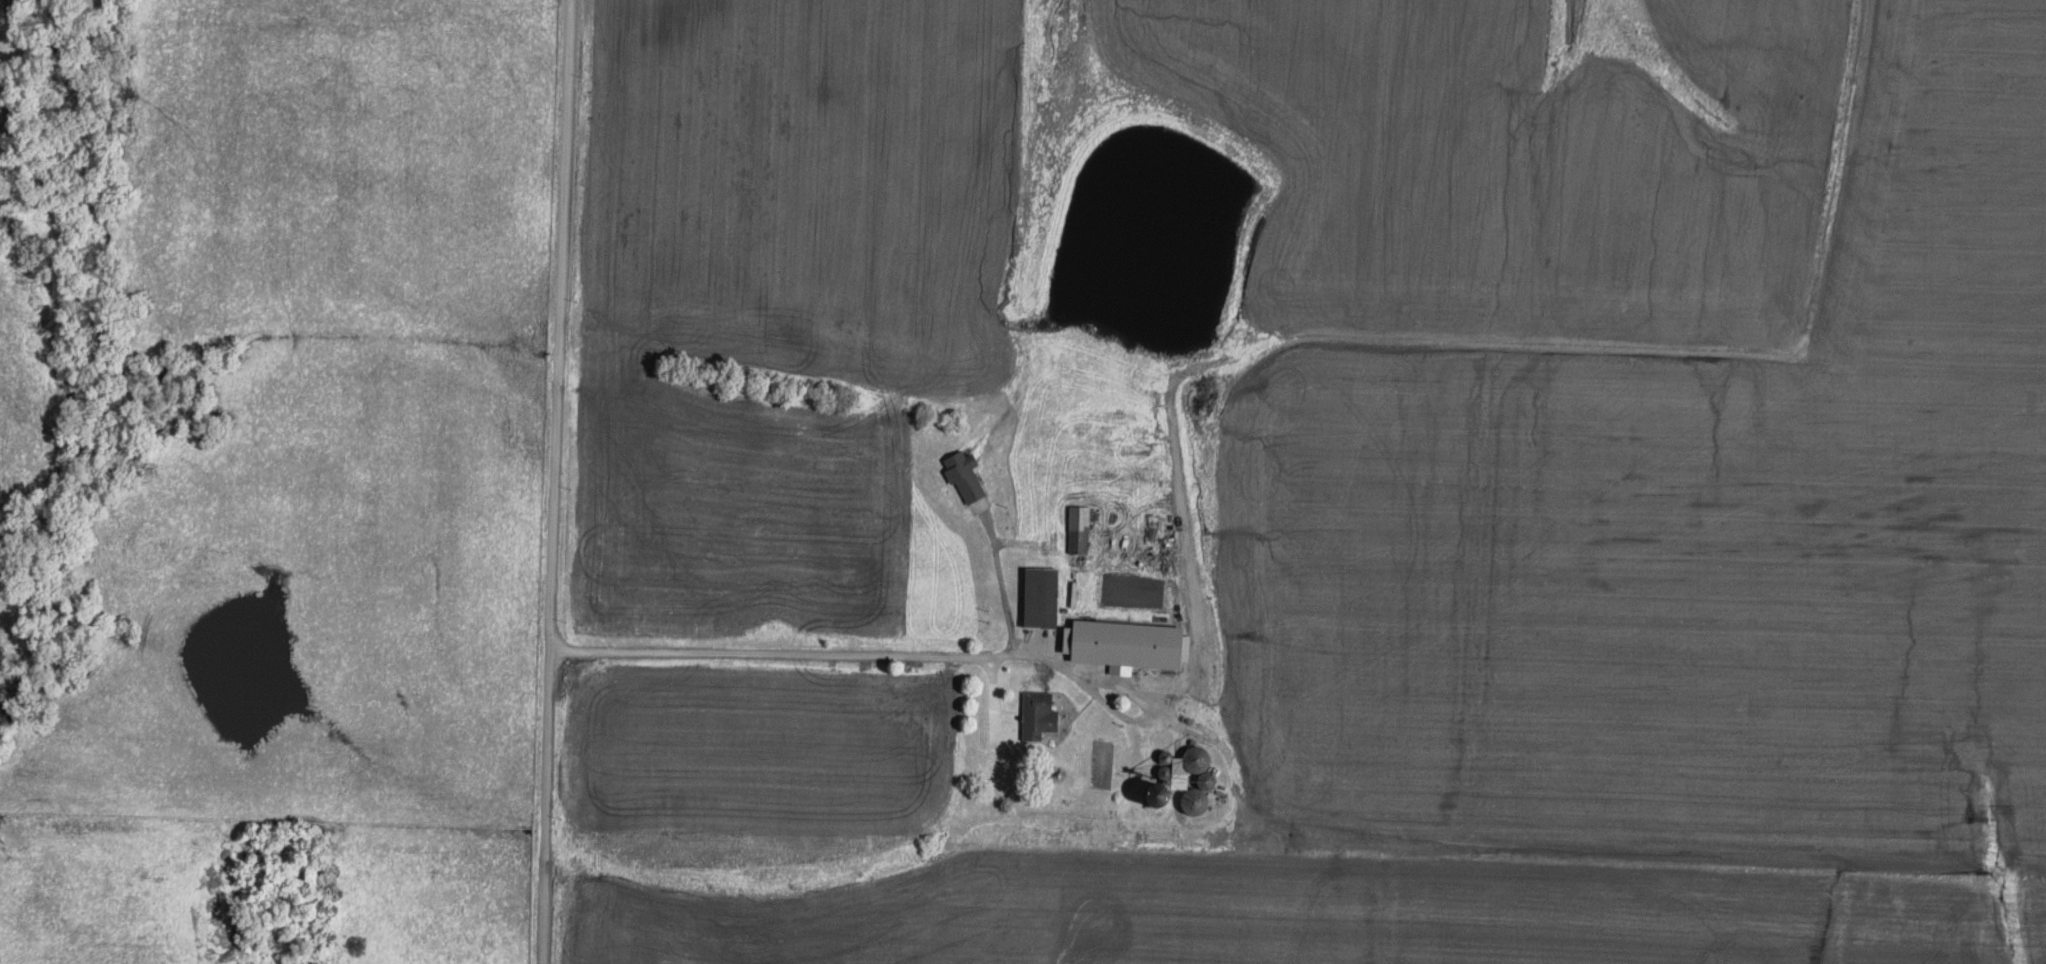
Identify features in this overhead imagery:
crop: (808, 179)
crop: (1638, 426)
building: (963, 475)
road: (548, 481)
building: (1078, 529)
building: (1040, 597)
road: (751, 649)
building: (1126, 650)
building: (1037, 715)
building: (1197, 759)
crop: (1321, 906)

